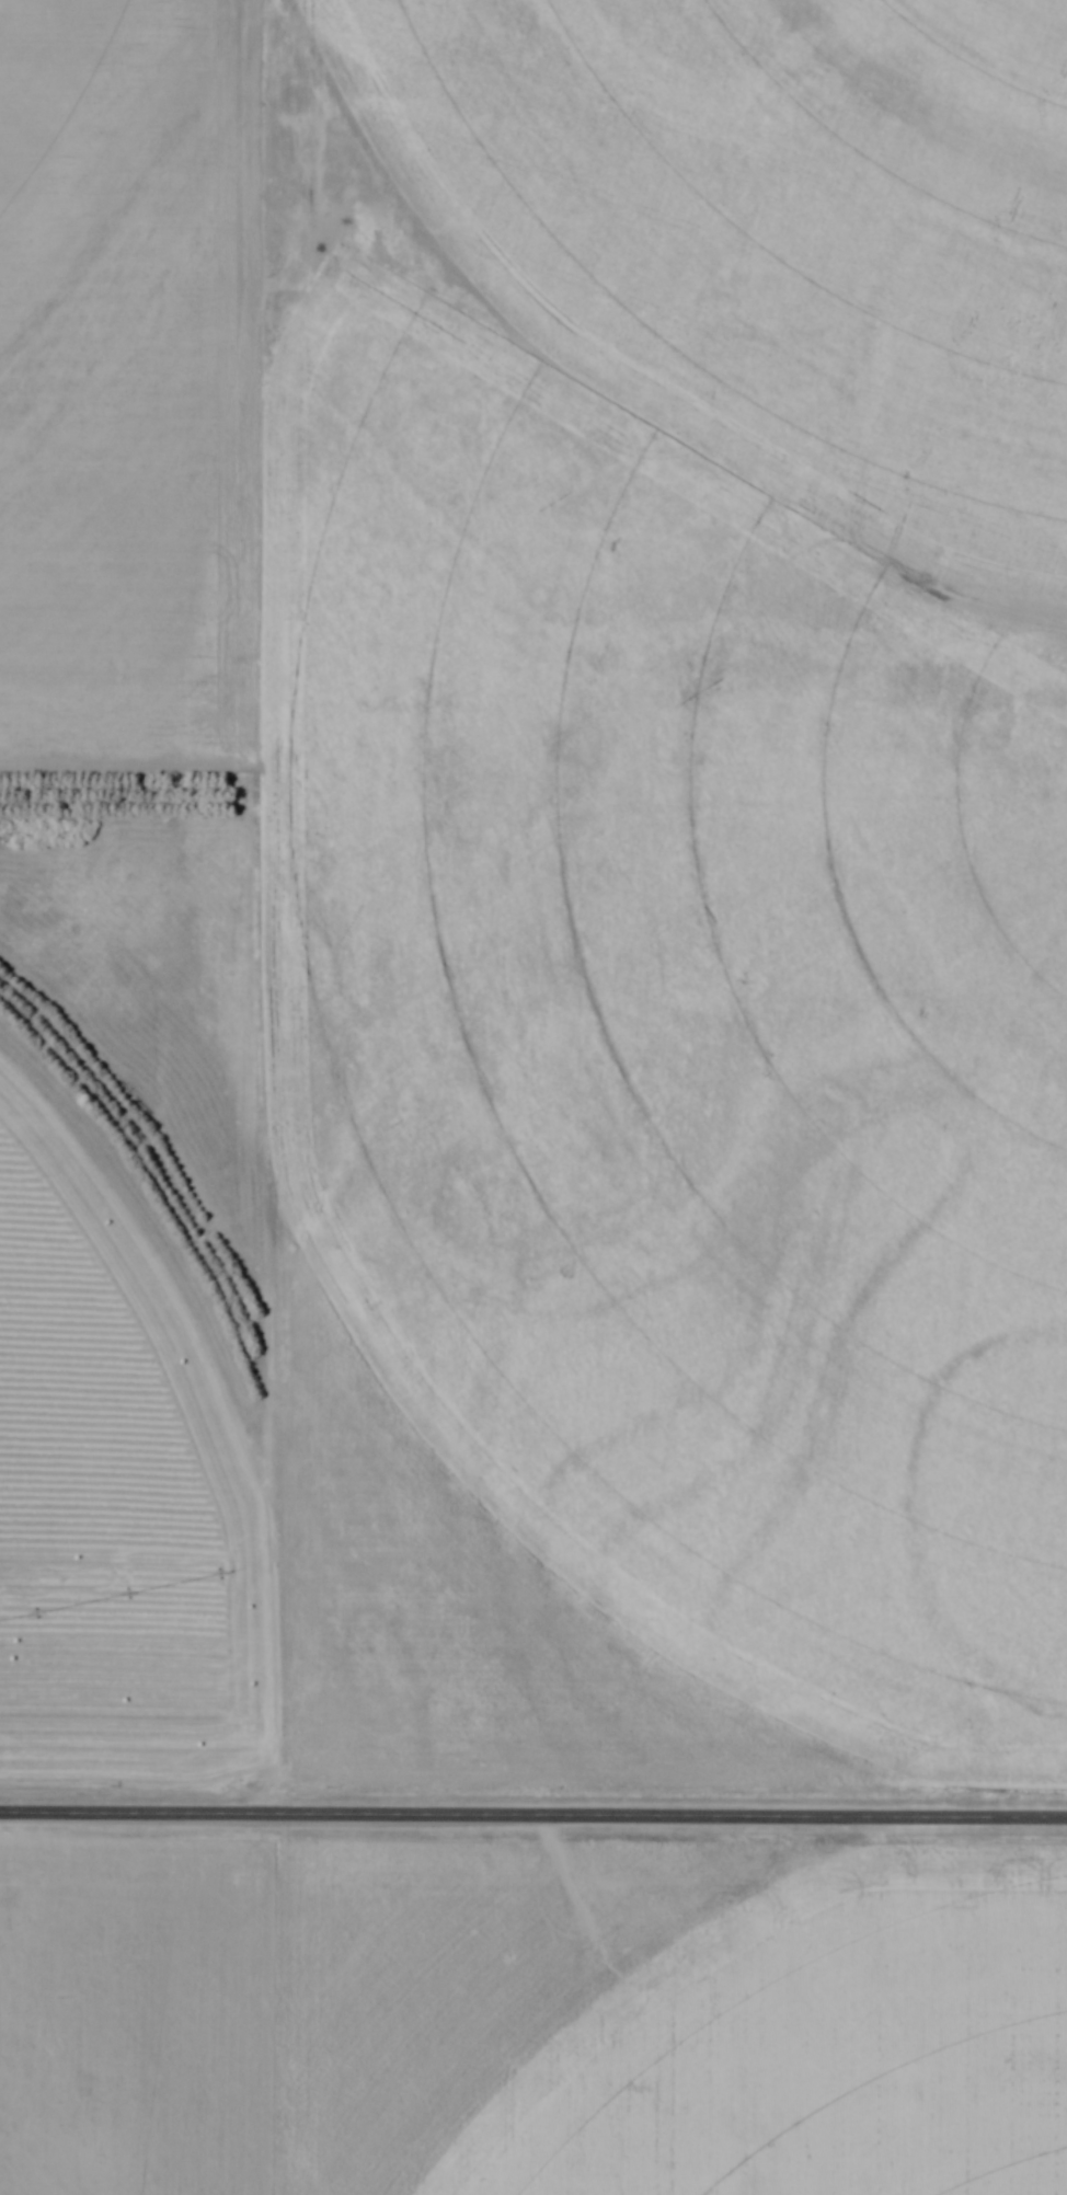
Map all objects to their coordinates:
road: (532, 1817)

